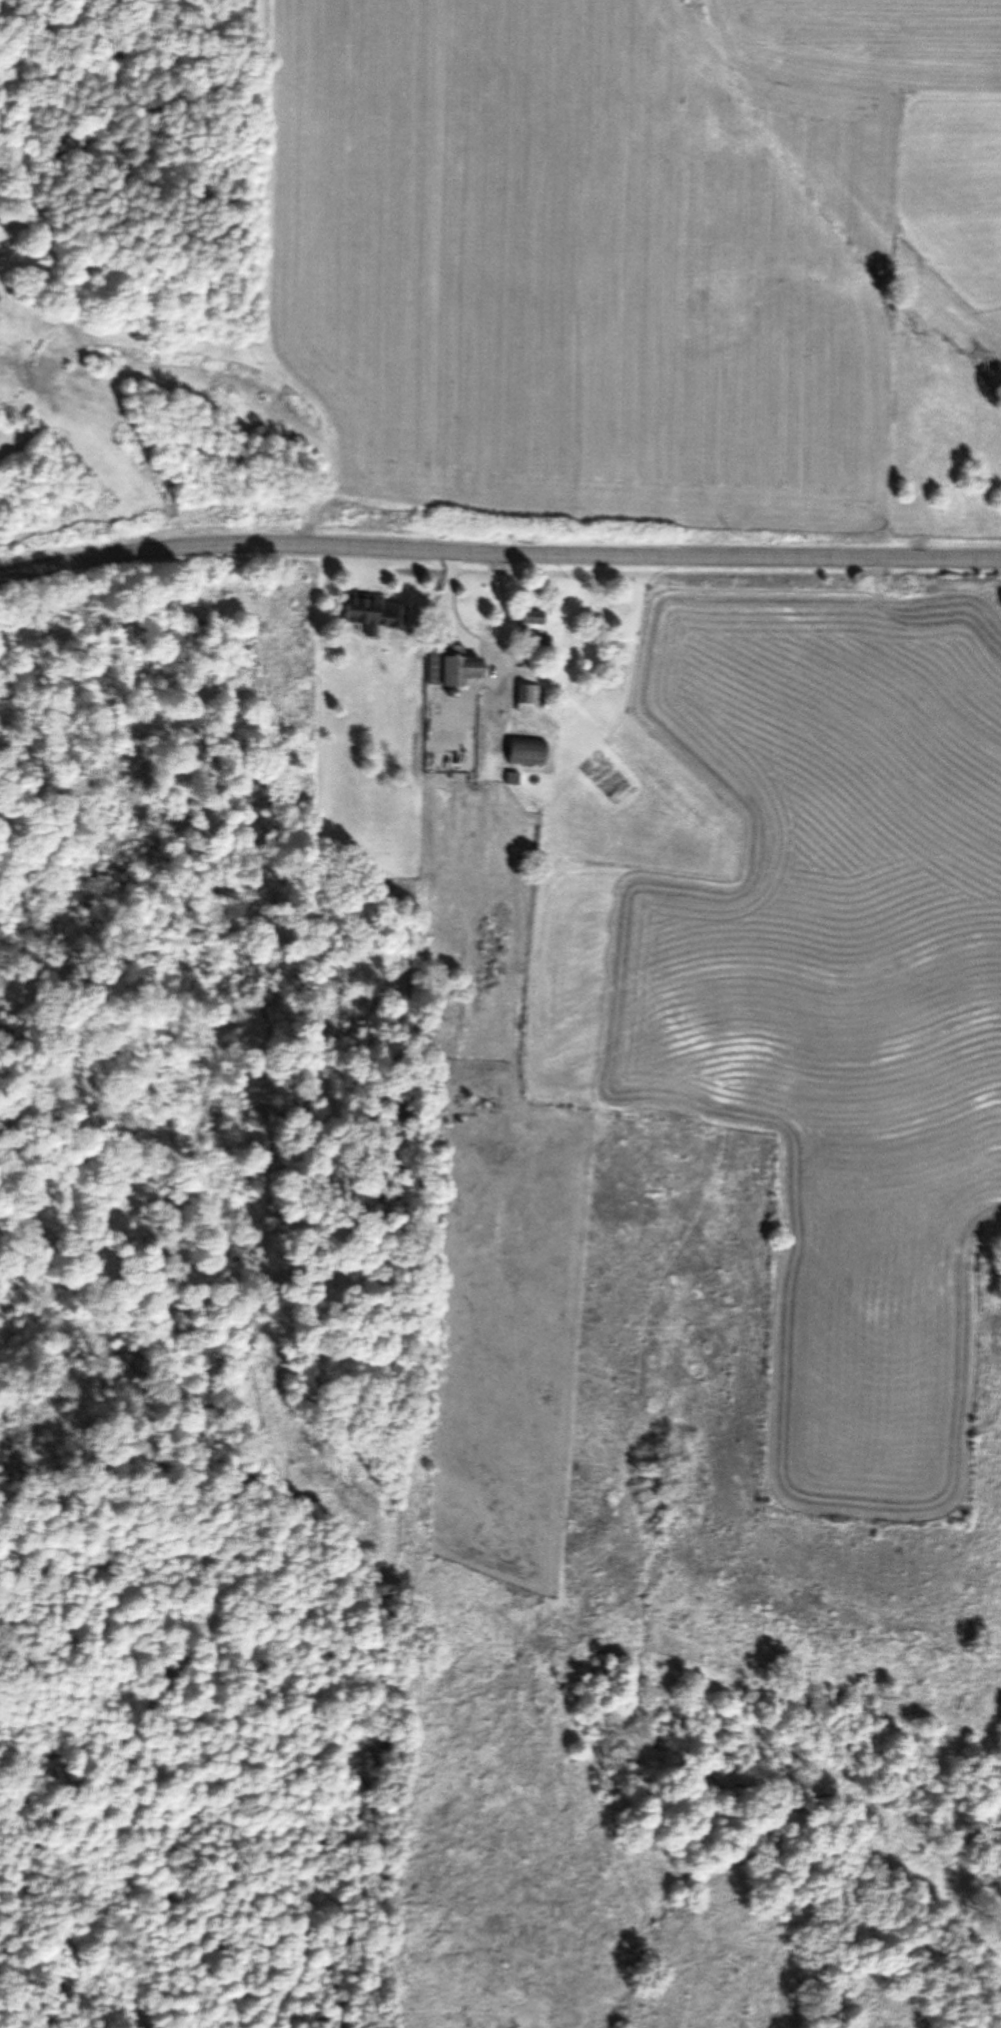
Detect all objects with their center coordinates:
road: (498, 553)
building: (364, 612)
building: (531, 634)
building: (449, 666)
building: (525, 698)
building: (522, 751)

